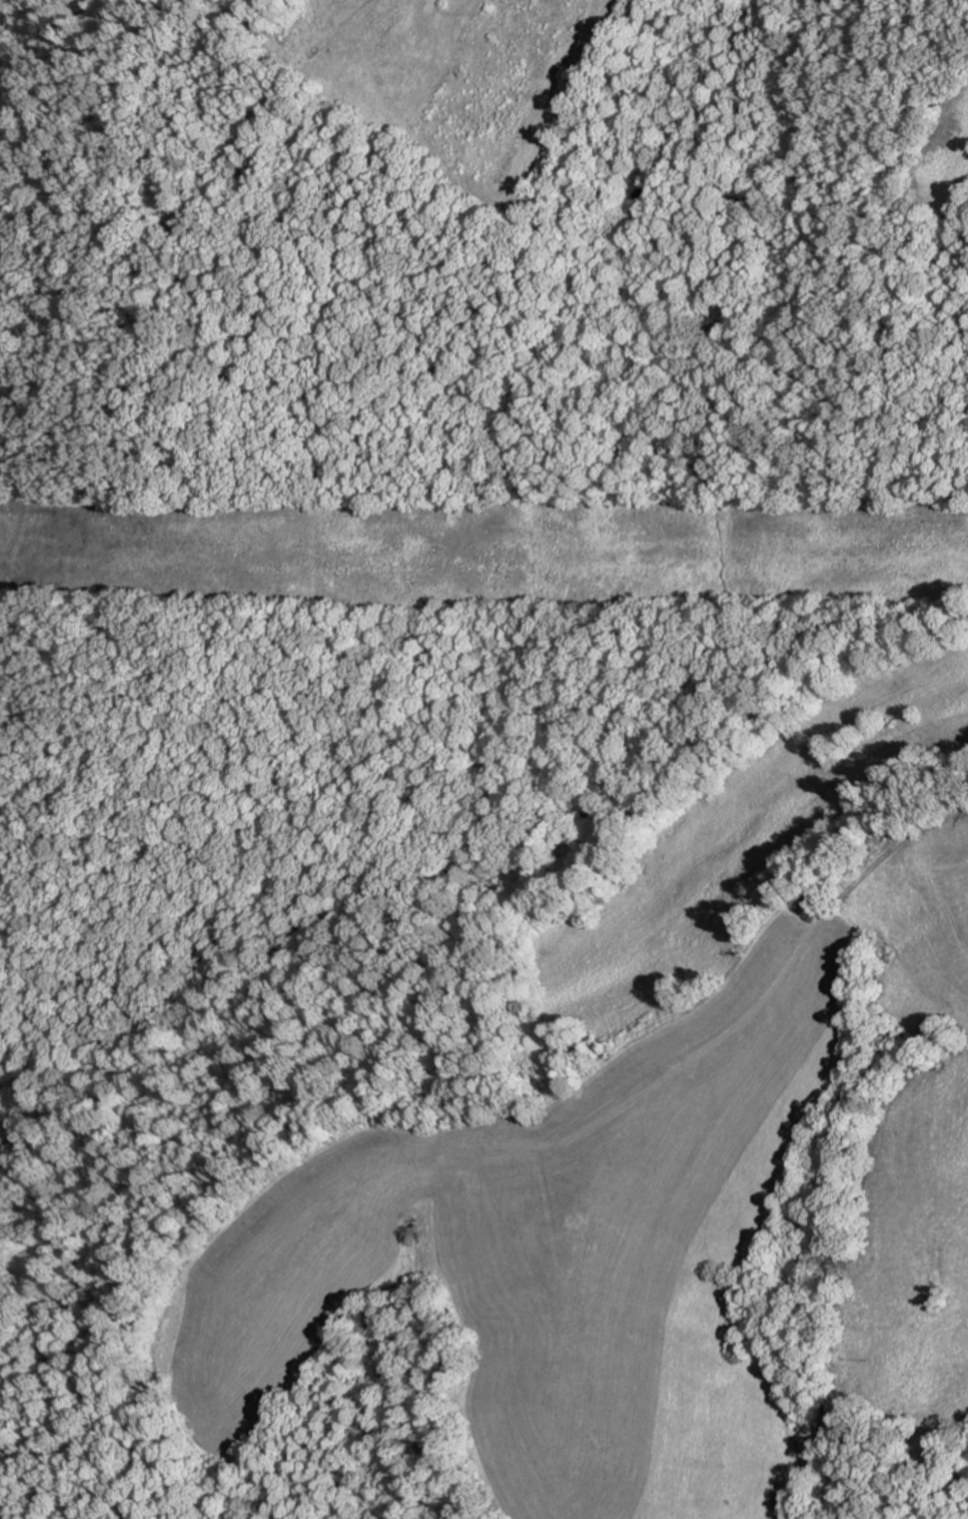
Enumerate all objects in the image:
building: (818, 900)

